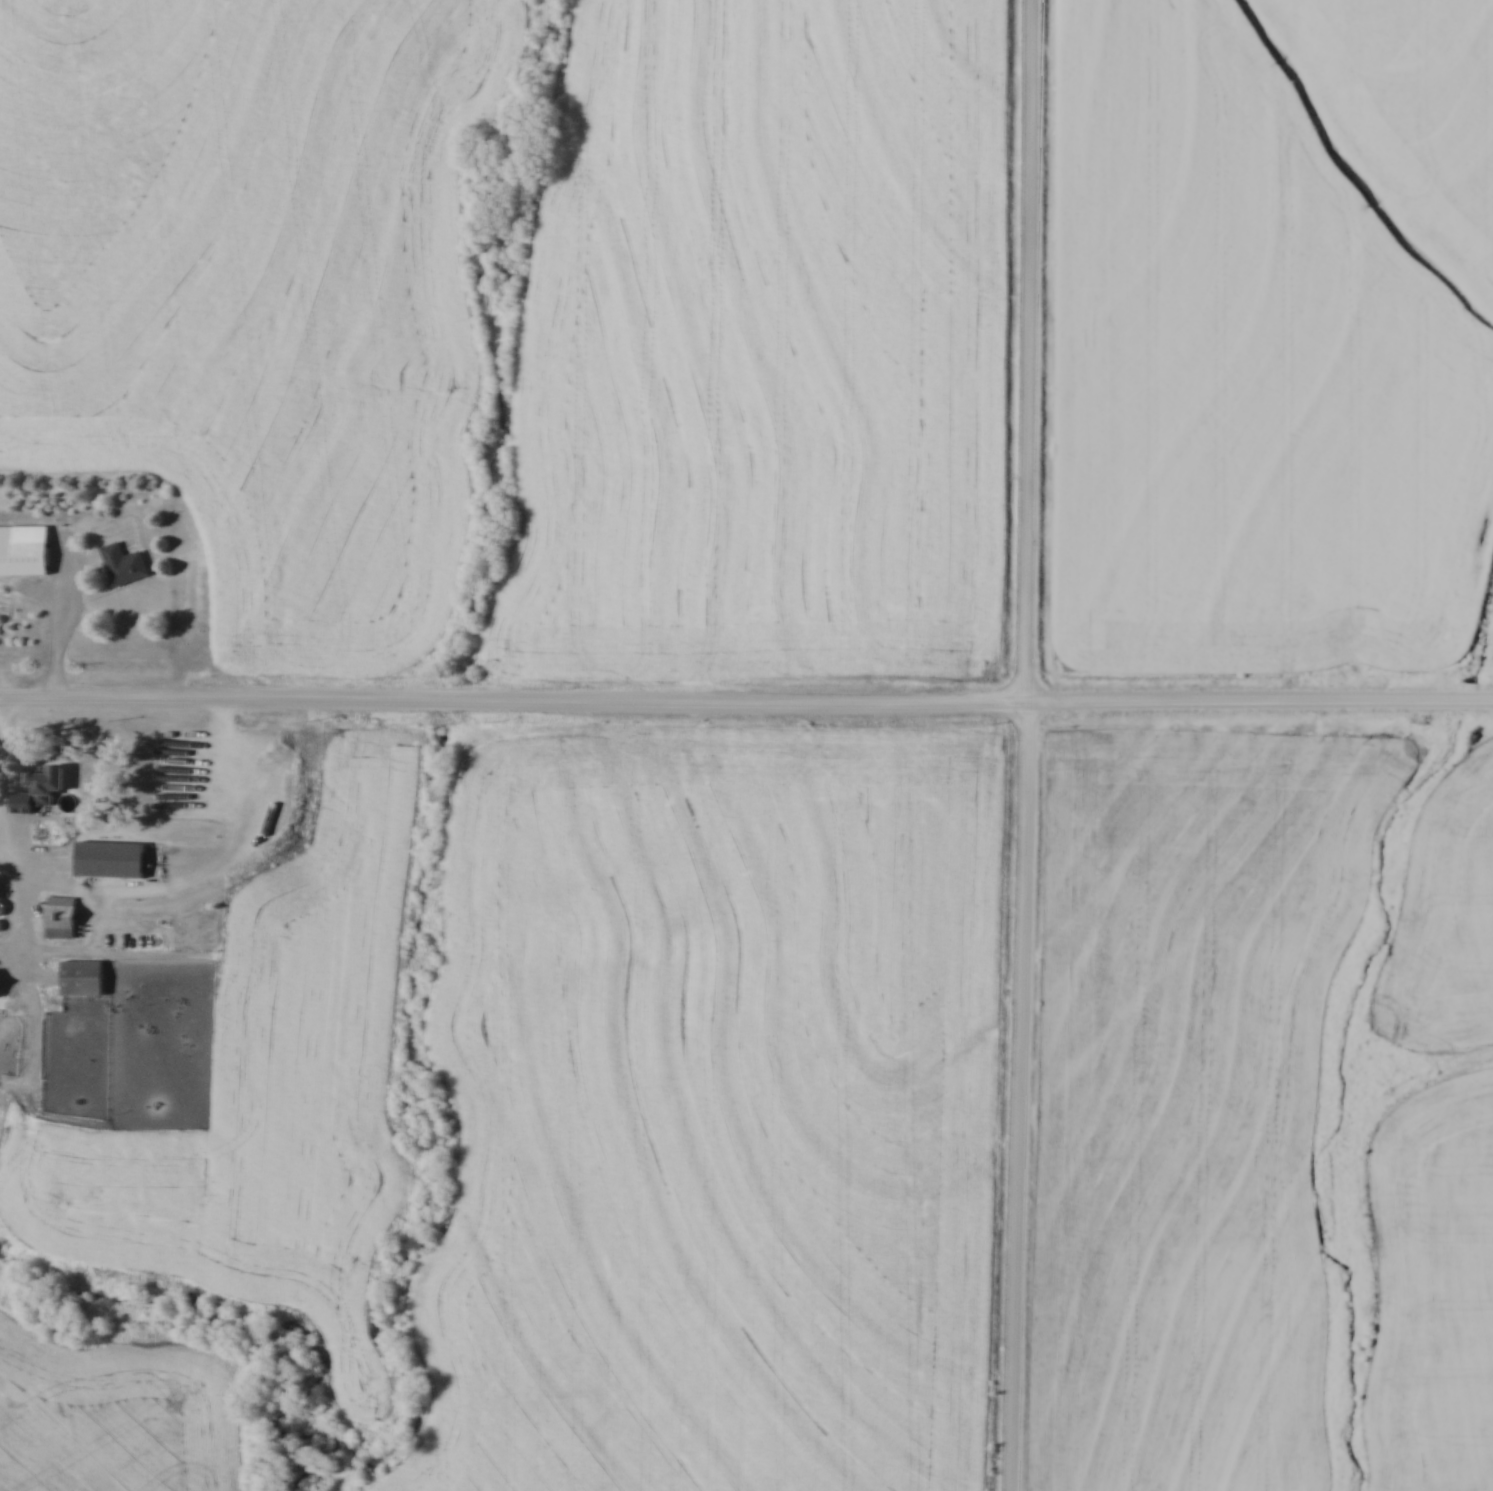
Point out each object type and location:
building: (26, 550)
building: (125, 565)
road: (68, 632)
road: (746, 708)
road: (1031, 745)
road: (7, 782)
building: (46, 788)
building: (86, 979)
building: (1, 986)

